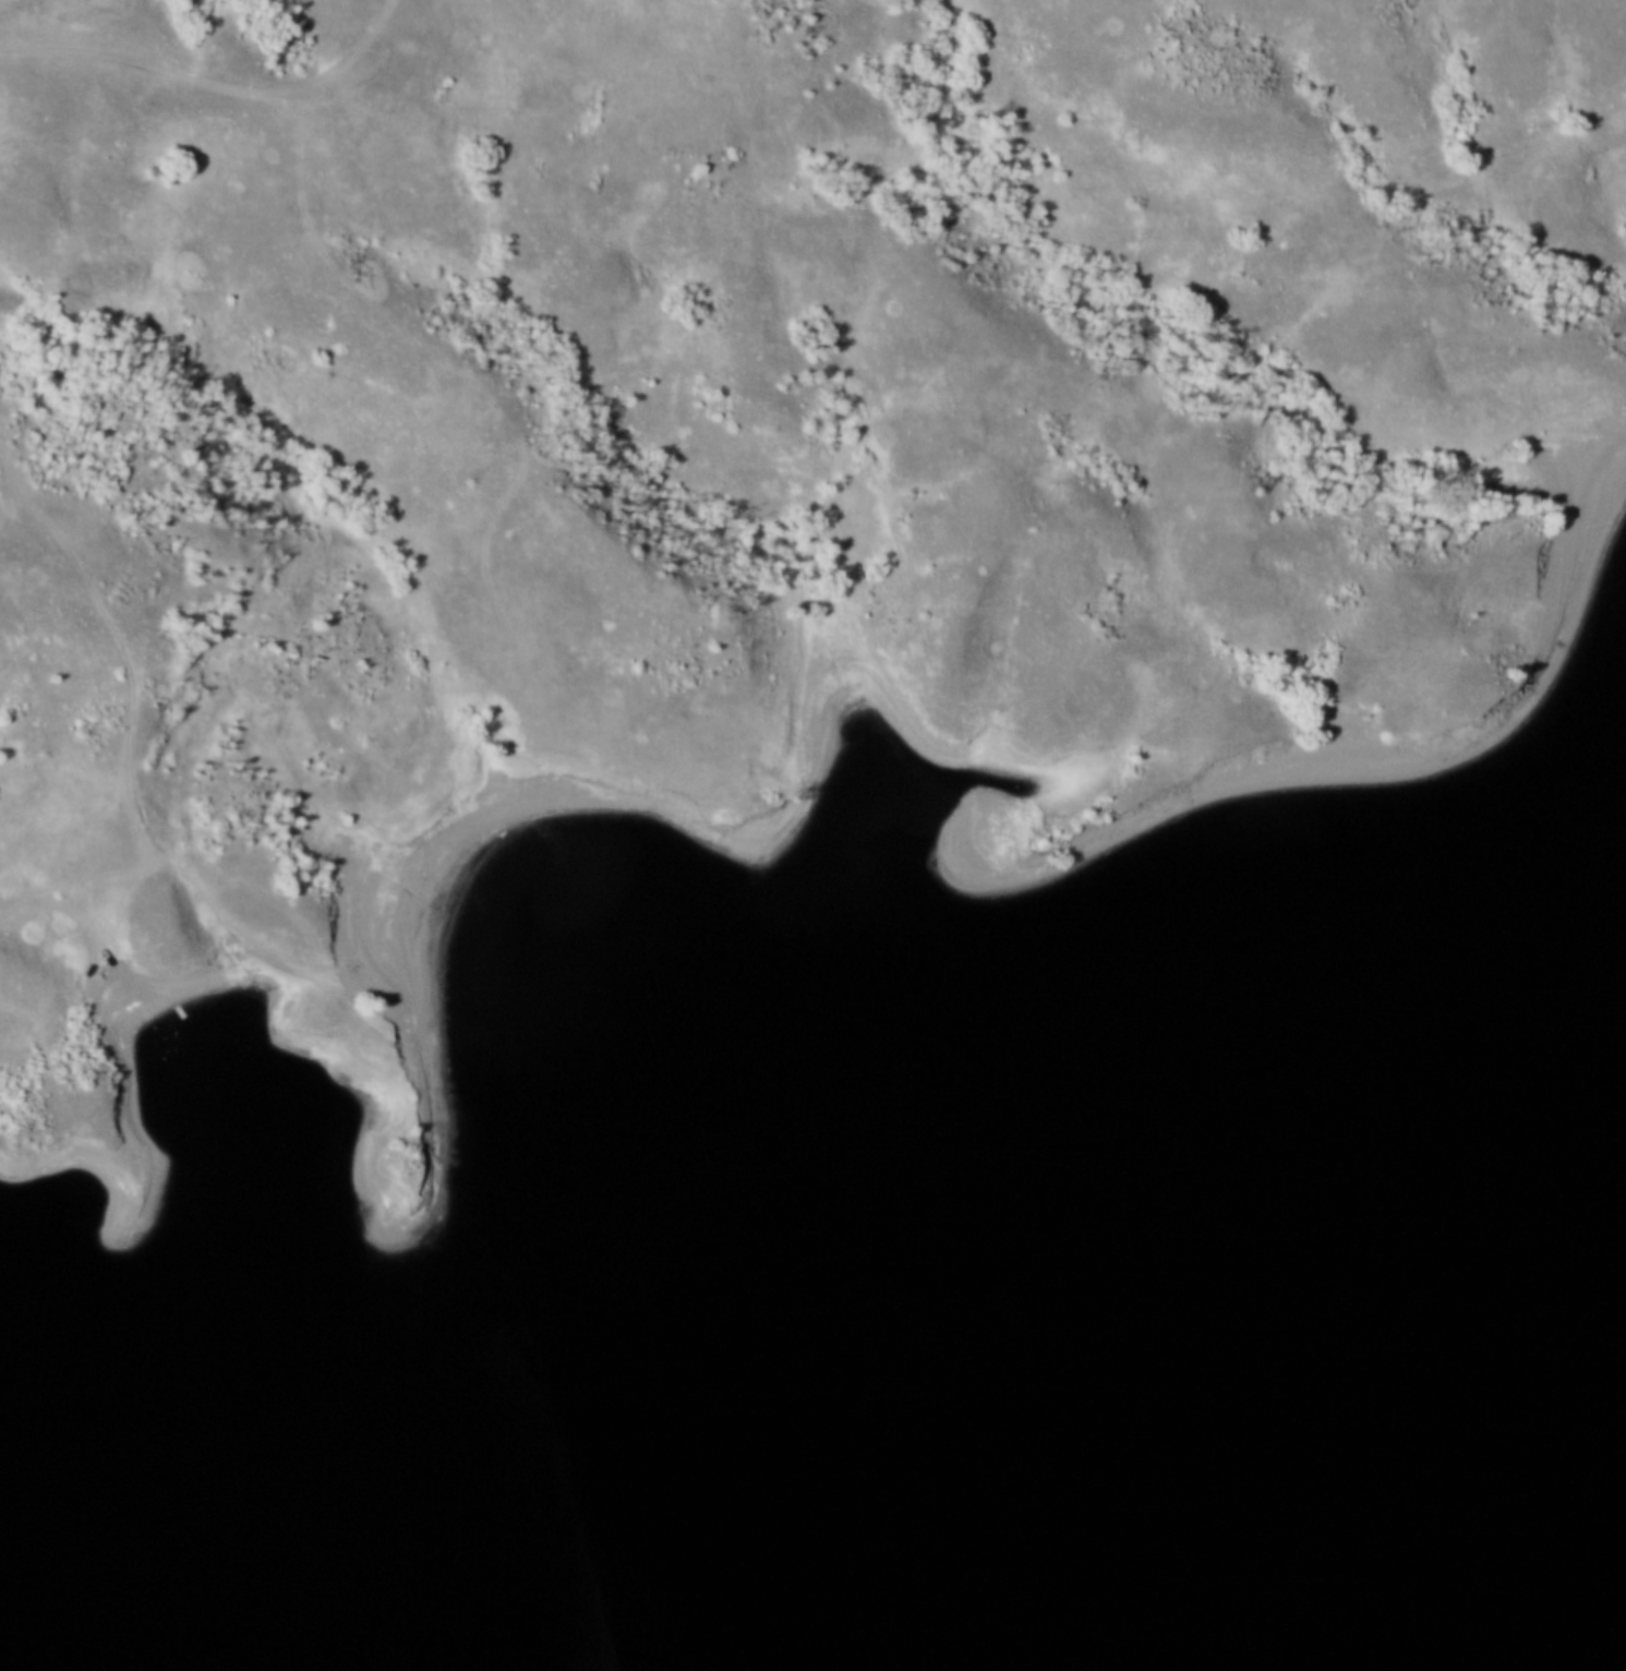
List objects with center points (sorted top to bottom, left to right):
road: (217, 91)
road: (120, 663)
road: (278, 912)
road: (251, 952)

